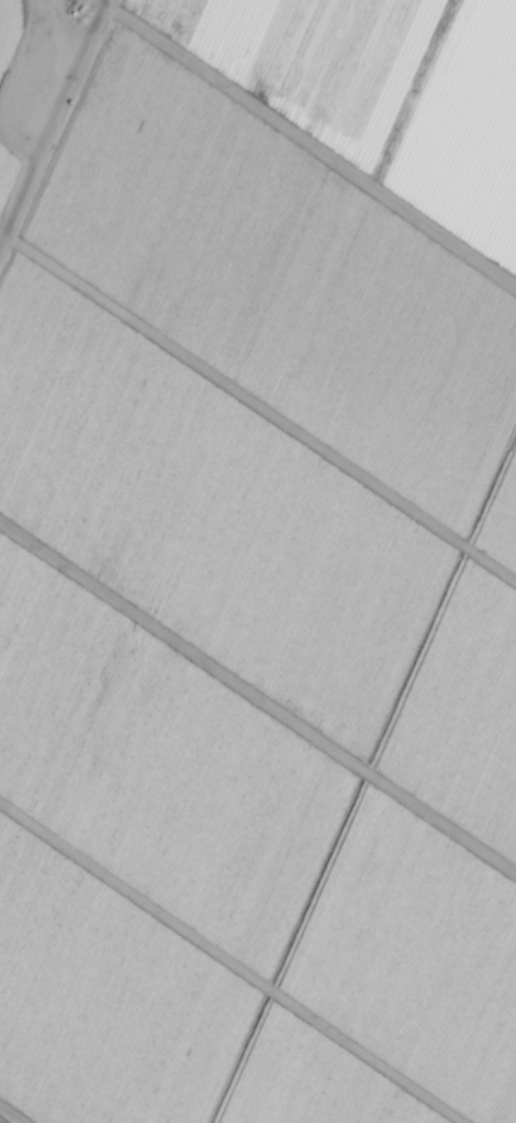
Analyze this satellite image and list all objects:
crop: (258, 561)

